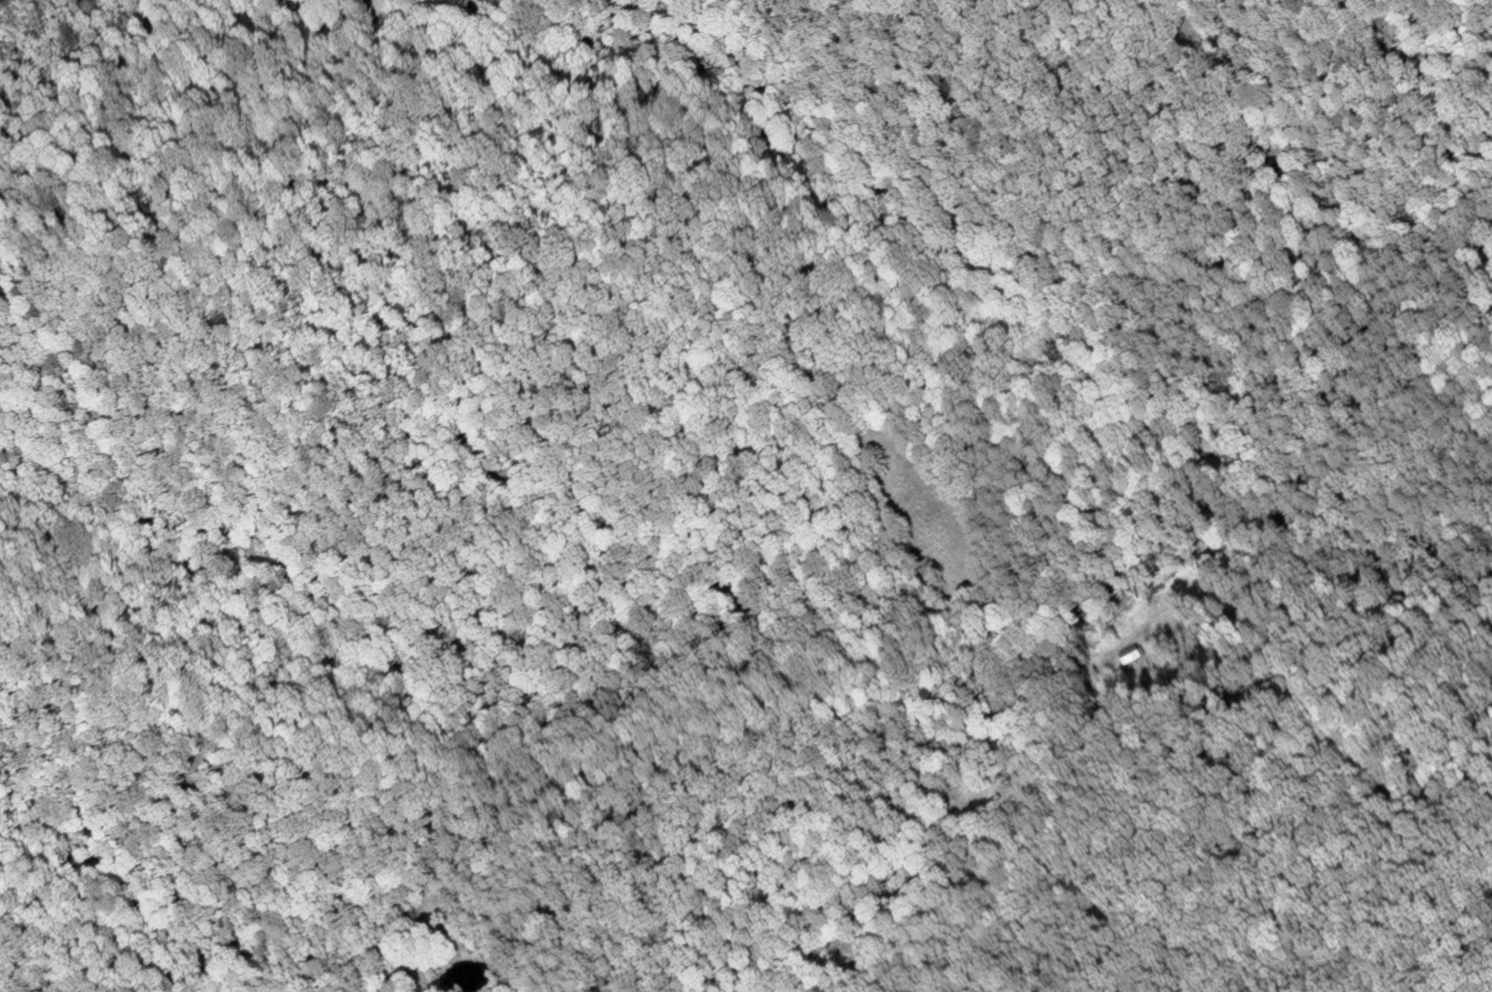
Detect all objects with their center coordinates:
building: (1148, 657)

